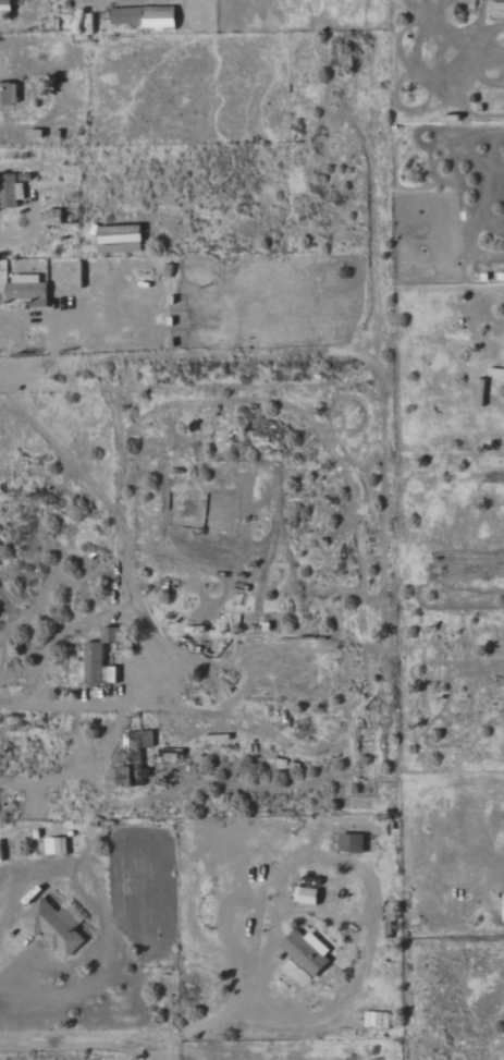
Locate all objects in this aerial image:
building: (126, 15)
building: (159, 20)
building: (9, 94)
road: (370, 187)
building: (8, 191)
building: (28, 292)
road: (37, 318)
road: (171, 357)
building: (112, 634)
road: (163, 644)
building: (108, 650)
building: (94, 662)
road: (14, 706)
road: (78, 770)
building: (131, 772)
building: (352, 843)
building: (57, 846)
building: (306, 895)
building: (56, 925)
road: (11, 951)
building: (307, 953)
road: (222, 1012)
road: (84, 1038)
road: (183, 1050)

